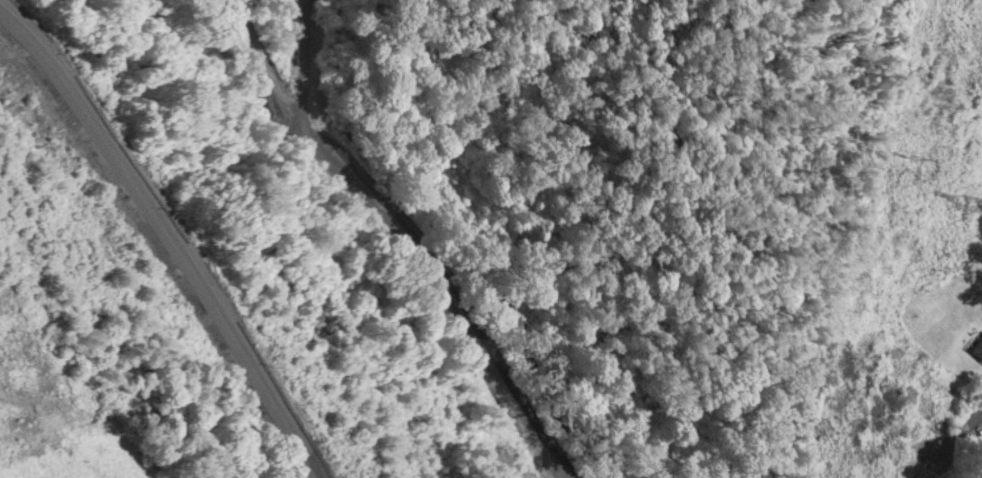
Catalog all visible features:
power tower: (968, 196)
building: (976, 348)

